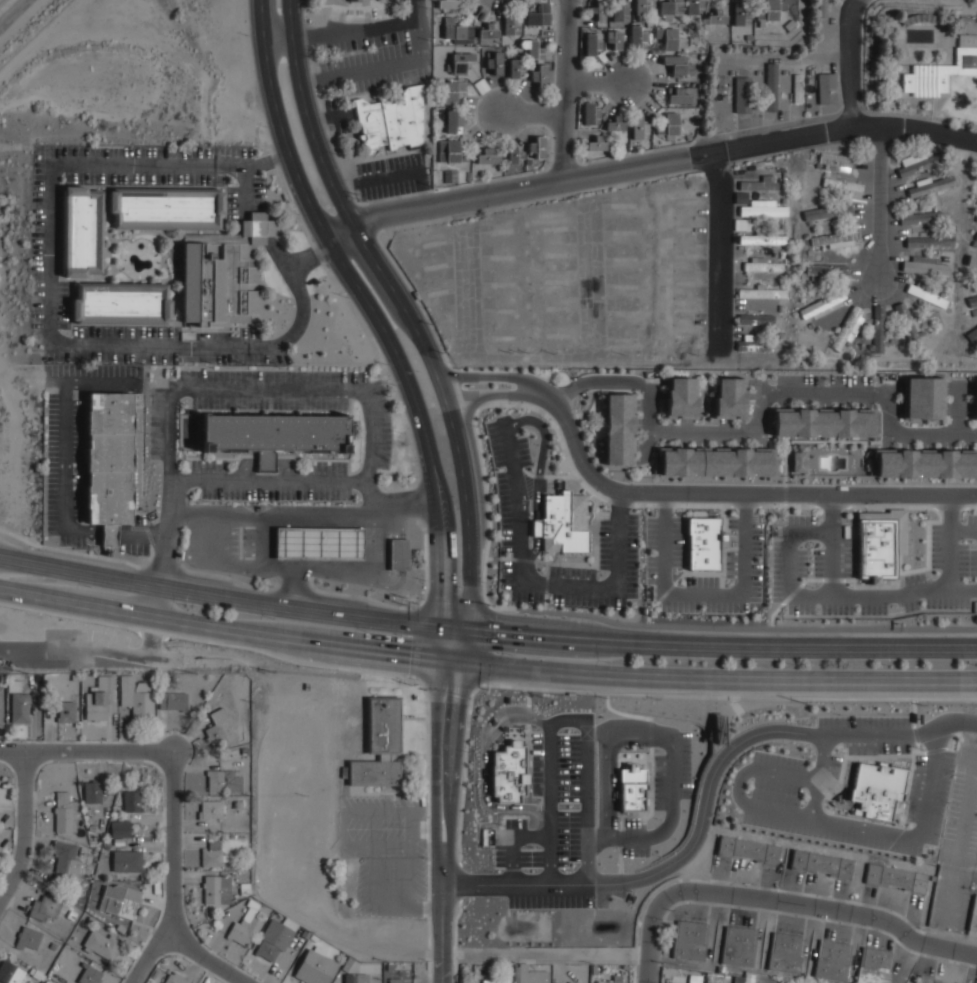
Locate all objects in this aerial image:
building: (355, 0)
building: (449, 4)
building: (641, 6)
building: (694, 6)
building: (670, 9)
building: (821, 9)
building: (618, 10)
building: (598, 11)
building: (771, 11)
building: (739, 14)
building: (539, 15)
building: (716, 18)
building: (789, 25)
building: (510, 26)
parking lot: (375, 28)
road: (380, 28)
building: (457, 31)
building: (488, 32)
road: (293, 35)
building: (636, 37)
building: (670, 38)
building: (614, 39)
building: (692, 41)
building: (592, 43)
building: (531, 48)
road: (790, 55)
building: (702, 56)
road: (849, 61)
building: (460, 63)
building: (495, 63)
building: (679, 66)
building: (514, 68)
road: (374, 70)
parking lot: (375, 70)
building: (945, 70)
building: (539, 76)
road: (311, 81)
road: (597, 82)
building: (675, 84)
building: (481, 85)
building: (700, 86)
building: (771, 87)
building: (826, 88)
building: (797, 89)
building: (453, 91)
road: (565, 91)
building: (681, 95)
building: (742, 95)
building: (699, 104)
road: (531, 113)
building: (589, 113)
building: (443, 116)
building: (451, 121)
building: (389, 123)
building: (614, 124)
building: (669, 124)
building: (639, 127)
road: (914, 129)
building: (435, 132)
building: (669, 137)
building: (688, 137)
road: (769, 143)
building: (596, 144)
building: (537, 147)
building: (625, 147)
building: (638, 147)
building: (450, 151)
building: (513, 154)
building: (488, 156)
building: (834, 159)
building: (527, 161)
road: (266, 162)
building: (921, 164)
building: (500, 168)
road: (397, 176)
building: (450, 176)
parking lot: (392, 178)
building: (841, 184)
building: (763, 185)
building: (931, 187)
road: (347, 188)
road: (505, 192)
road: (424, 200)
road: (879, 203)
building: (167, 207)
building: (763, 211)
building: (827, 211)
building: (920, 218)
building: (82, 229)
building: (976, 237)
building: (834, 238)
building: (763, 239)
building: (930, 242)
parking lot: (45, 248)
road: (50, 250)
road: (714, 253)
road: (280, 259)
building: (972, 260)
building: (763, 266)
building: (926, 267)
building: (826, 270)
building: (220, 283)
building: (762, 293)
building: (926, 296)
building: (972, 301)
building: (121, 302)
building: (821, 304)
road: (404, 306)
road: (299, 308)
building: (756, 319)
road: (380, 322)
building: (908, 326)
building: (846, 328)
building: (878, 329)
building: (972, 335)
building: (754, 345)
road: (484, 375)
road: (618, 381)
road: (270, 391)
parking lot: (837, 391)
road: (567, 393)
road: (488, 395)
road: (842, 395)
parking lot: (959, 396)
building: (924, 397)
road: (959, 397)
building: (680, 398)
building: (730, 398)
building: (975, 399)
parking lot: (271, 402)
road: (761, 405)
road: (650, 416)
road: (890, 419)
building: (823, 421)
road: (959, 425)
building: (619, 428)
parking lot: (643, 429)
building: (274, 433)
road: (658, 433)
road: (712, 433)
parking lot: (715, 433)
road: (975, 435)
road: (927, 436)
parking lot: (928, 437)
parking lot: (81, 458)
building: (717, 460)
road: (66, 461)
building: (799, 461)
building: (109, 462)
building: (926, 462)
road: (539, 480)
road: (183, 481)
road: (272, 482)
parking lot: (273, 482)
road: (359, 483)
road: (725, 493)
road: (620, 503)
road: (666, 505)
road: (747, 505)
road: (384, 506)
road: (951, 509)
parking lot: (513, 512)
road: (833, 513)
road: (272, 514)
building: (564, 523)
road: (964, 533)
road: (156, 534)
road: (164, 538)
building: (319, 541)
building: (881, 541)
building: (706, 544)
parking lot: (813, 552)
building: (400, 555)
road: (951, 555)
parking lot: (746, 560)
road: (293, 562)
road: (834, 563)
road: (902, 571)
road: (368, 576)
road: (523, 582)
road: (706, 594)
road: (831, 595)
road: (233, 599)
traffic signals: (439, 626)
road: (219, 627)
traffic signals: (469, 629)
road: (734, 629)
road: (464, 647)
road: (722, 647)
road: (20, 649)
traffic signals: (439, 662)
traffic signals: (460, 665)
building: (74, 677)
building: (1, 678)
road: (707, 681)
building: (14, 686)
building: (136, 697)
building: (99, 698)
building: (173, 701)
building: (1, 706)
building: (19, 707)
building: (66, 711)
road: (571, 720)
building: (219, 728)
parking lot: (872, 733)
road: (750, 738)
road: (639, 740)
road: (935, 742)
building: (379, 745)
road: (87, 751)
building: (244, 751)
road: (607, 757)
road: (436, 761)
road: (453, 763)
road: (486, 763)
parking lot: (672, 771)
building: (509, 773)
road: (780, 774)
road: (821, 776)
building: (224, 780)
road: (813, 780)
road: (738, 784)
building: (632, 788)
building: (876, 790)
building: (92, 791)
building: (132, 800)
road: (672, 802)
parking lot: (776, 802)
building: (238, 804)
road: (552, 808)
building: (210, 809)
road: (589, 809)
building: (65, 812)
parking lot: (557, 823)
building: (120, 828)
road: (22, 829)
road: (877, 830)
building: (228, 835)
parking lot: (633, 835)
road: (598, 838)
road: (514, 841)
parking lot: (961, 849)
building: (748, 850)
parking lot: (384, 852)
building: (213, 855)
building: (67, 858)
building: (127, 860)
building: (821, 864)
road: (172, 875)
building: (896, 878)
road: (475, 884)
road: (556, 884)
building: (216, 889)
building: (245, 889)
building: (120, 899)
building: (45, 906)
road: (846, 913)
road: (655, 917)
road: (442, 921)
building: (245, 924)
building: (305, 934)
building: (28, 938)
building: (313, 938)
building: (690, 939)
building: (274, 940)
building: (102, 943)
building: (739, 945)
building: (785, 951)
road: (207, 958)
building: (832, 960)
building: (874, 965)
building: (315, 967)
building: (389, 967)
building: (624, 967)
building: (593, 969)
building: (508, 970)
building: (10, 972)
building: (89, 974)
building: (515, 974)
building: (531, 975)
building: (175, 978)
building: (356, 978)
building: (616, 979)
building: (395, 980)
building: (934, 980)
building: (494, 981)
building: (693, 981)
building: (574, 982)

